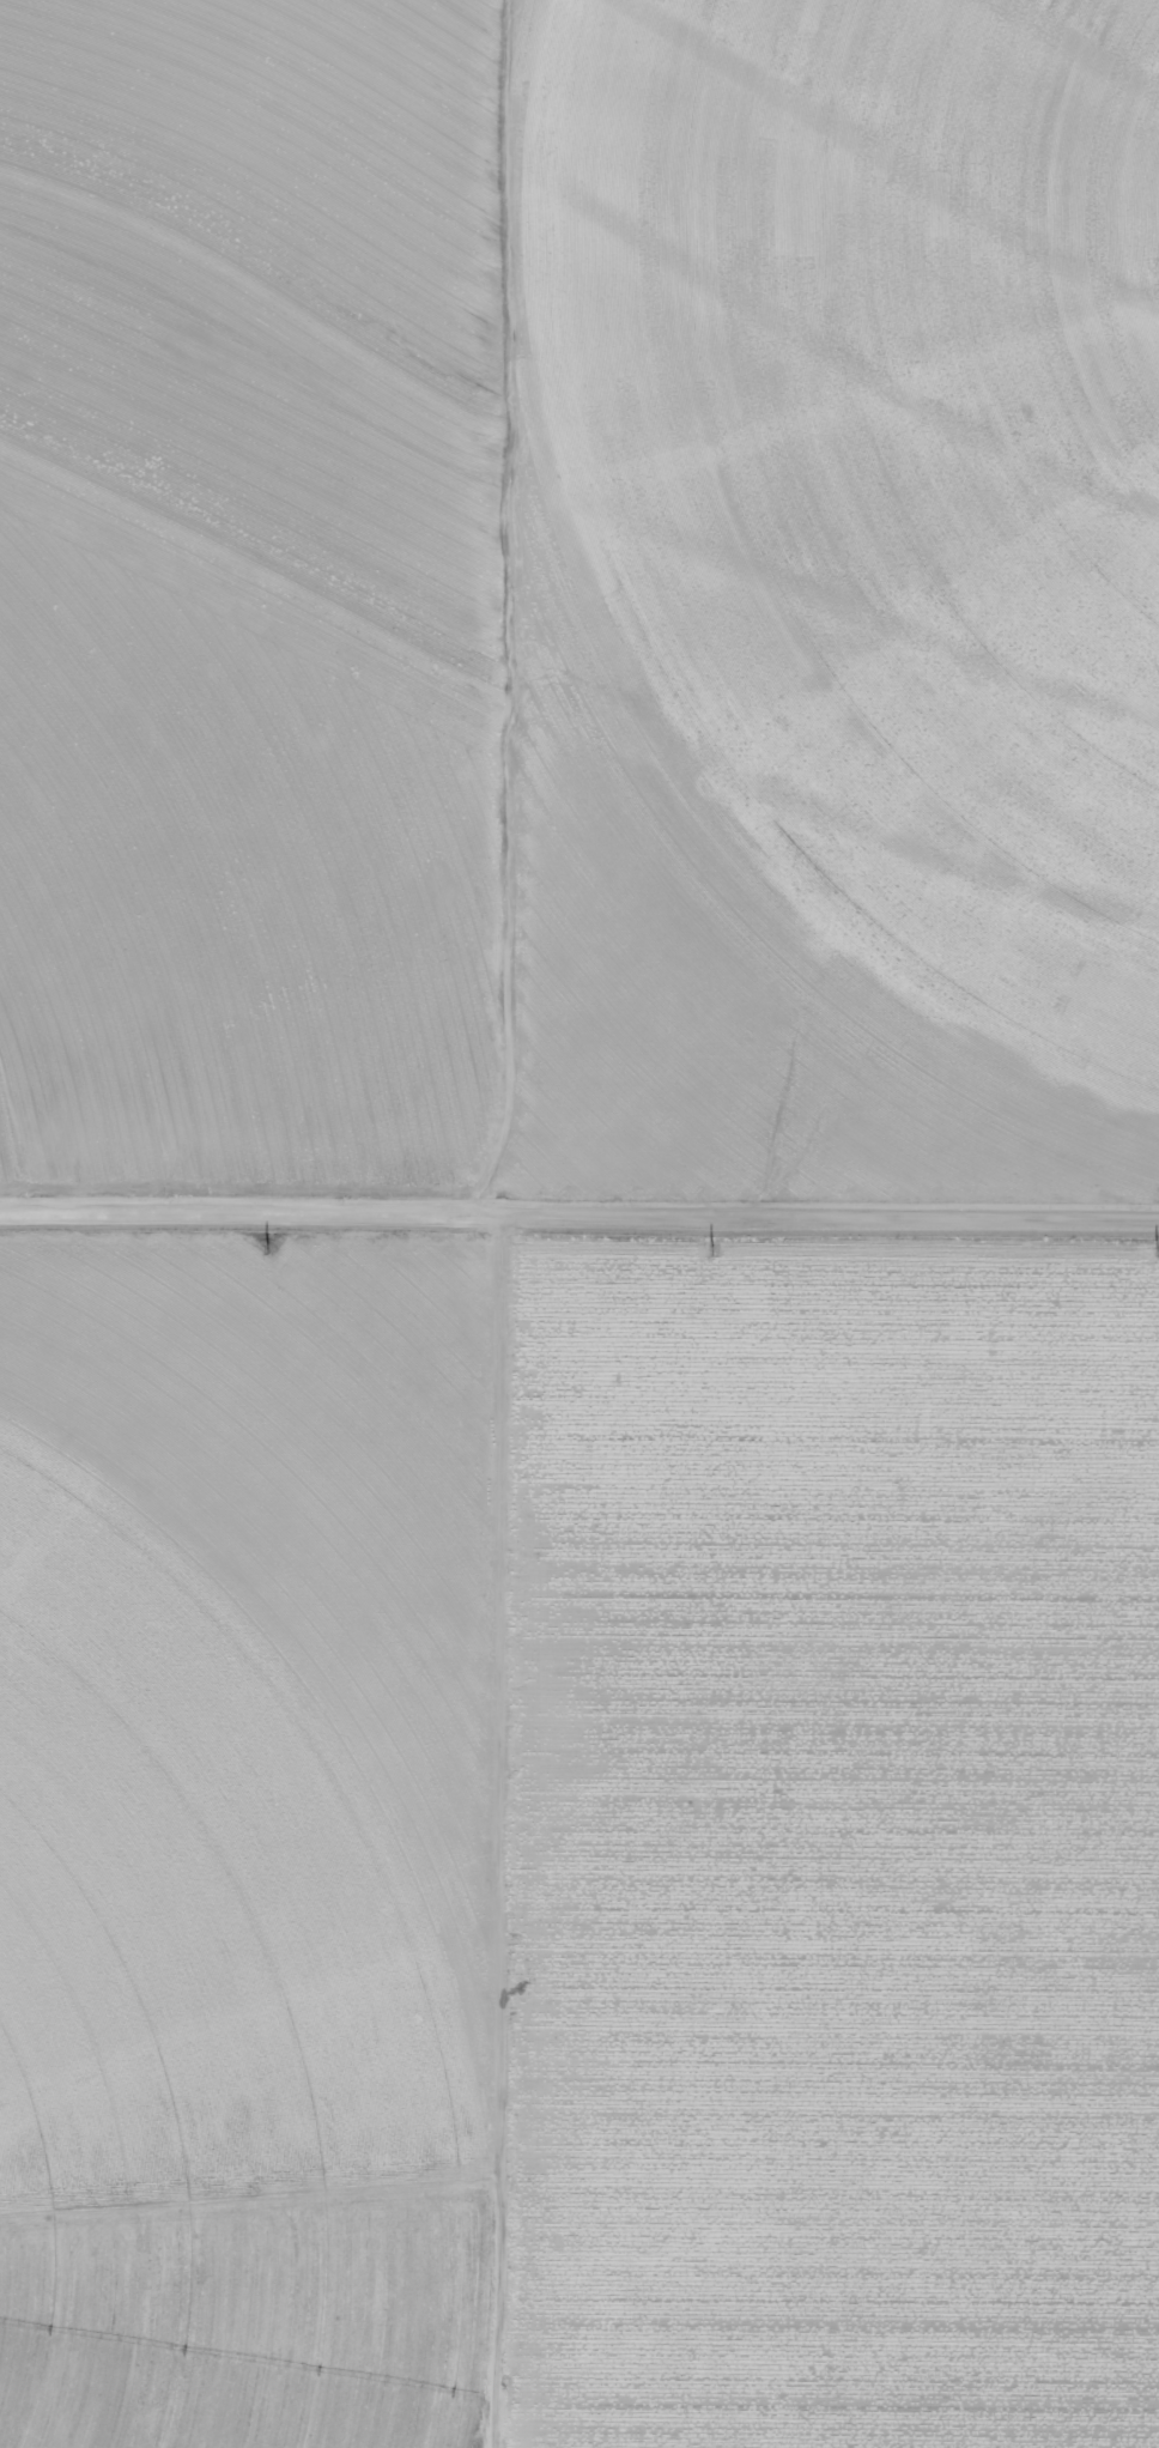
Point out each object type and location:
road: (467, 613)
road: (578, 1226)
power tower: (259, 1240)
power tower: (1151, 1247)
power tower: (705, 1248)

